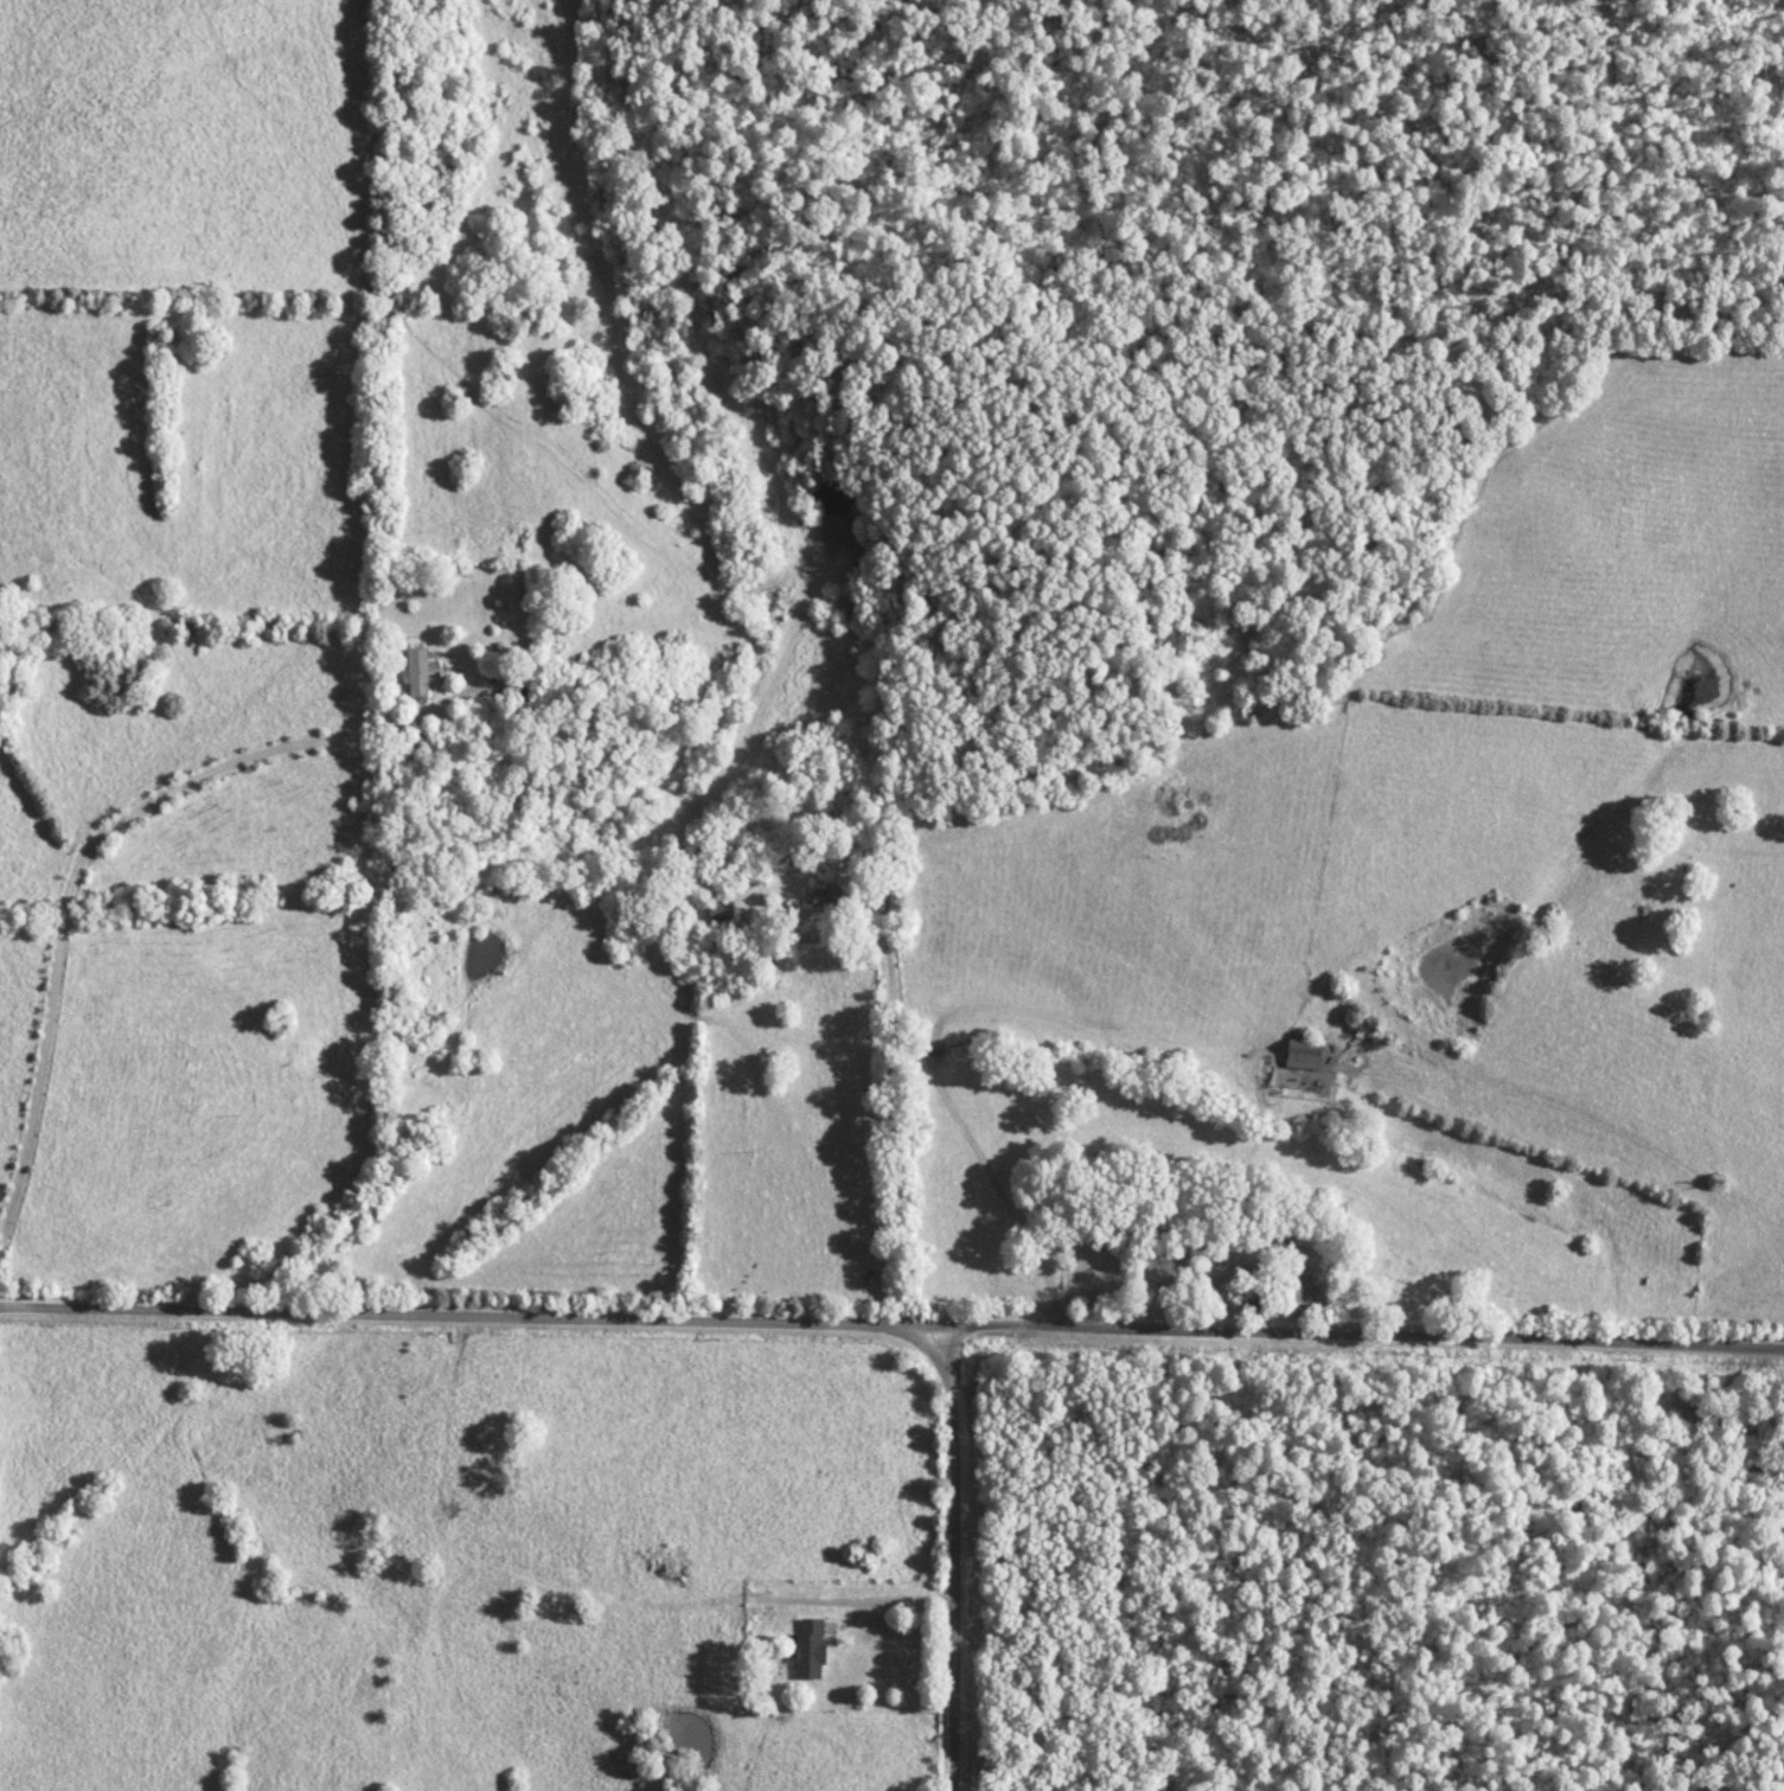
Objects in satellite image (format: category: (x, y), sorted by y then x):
building: (416, 672)
building: (510, 687)
road: (88, 863)
building: (827, 895)
building: (718, 904)
road: (897, 1019)
building: (1302, 1054)
building: (1158, 1265)
building: (1297, 1291)
road: (891, 1323)
building: (486, 1434)
building: (544, 1552)
building: (597, 1552)
road: (961, 1557)
road: (878, 1605)
building: (808, 1648)

